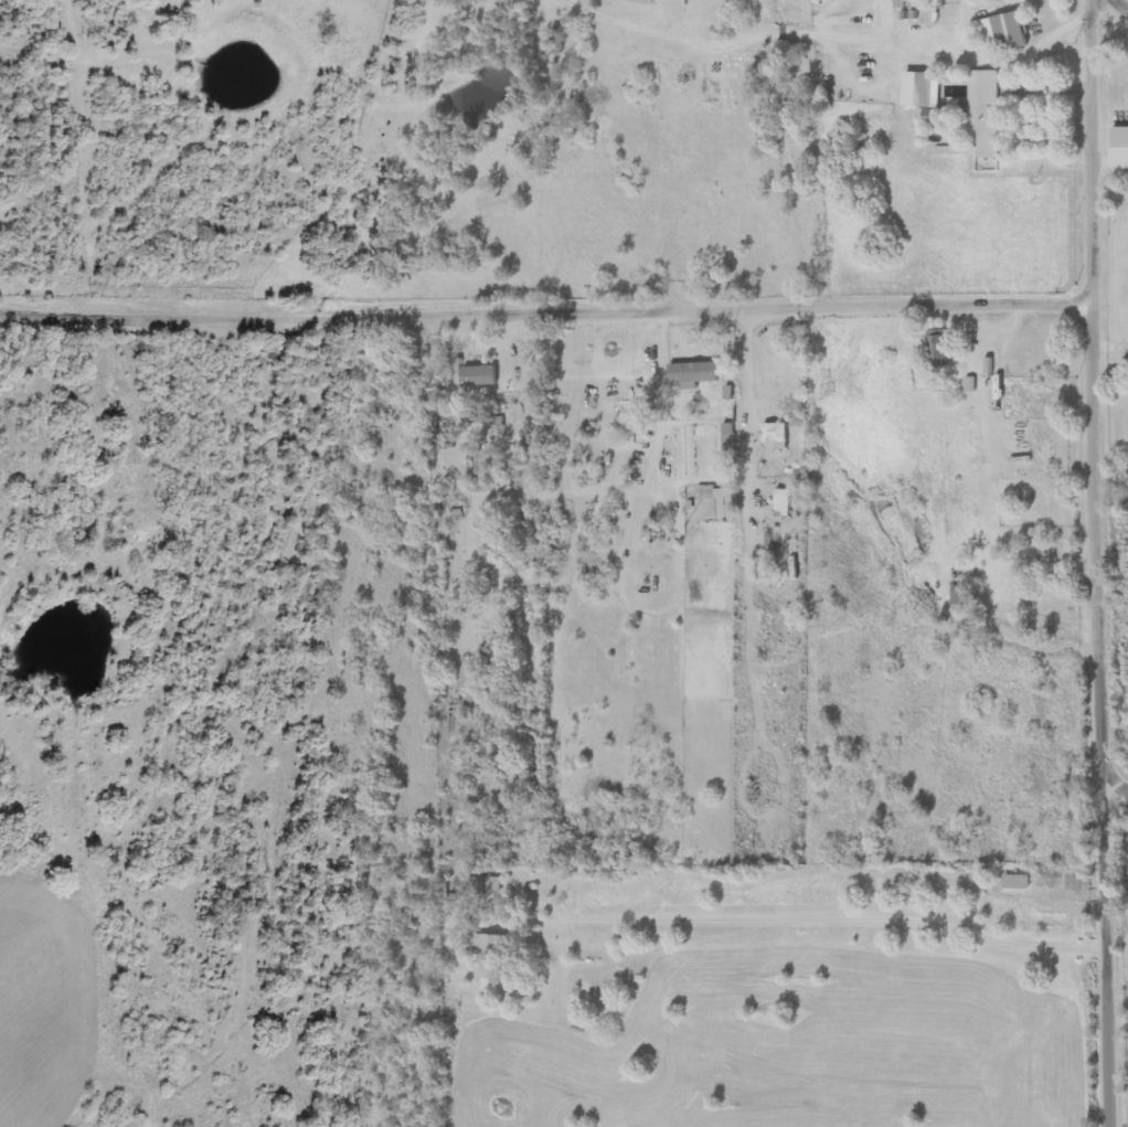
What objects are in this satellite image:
building: (643, 1)
road: (1126, 1)
building: (905, 2)
building: (933, 2)
building: (1001, 32)
road: (943, 42)
road: (762, 43)
building: (925, 96)
building: (981, 117)
building: (1118, 148)
road: (668, 241)
road: (545, 312)
road: (1109, 347)
building: (935, 348)
road: (584, 351)
building: (691, 373)
building: (475, 376)
building: (773, 433)
building: (725, 437)
road: (567, 453)
building: (715, 493)
building: (780, 501)
road: (747, 549)
road: (1094, 563)
building: (957, 595)
road: (1115, 802)
building: (1014, 882)
building: (477, 885)
road: (1068, 892)
road: (838, 916)
building: (488, 955)

